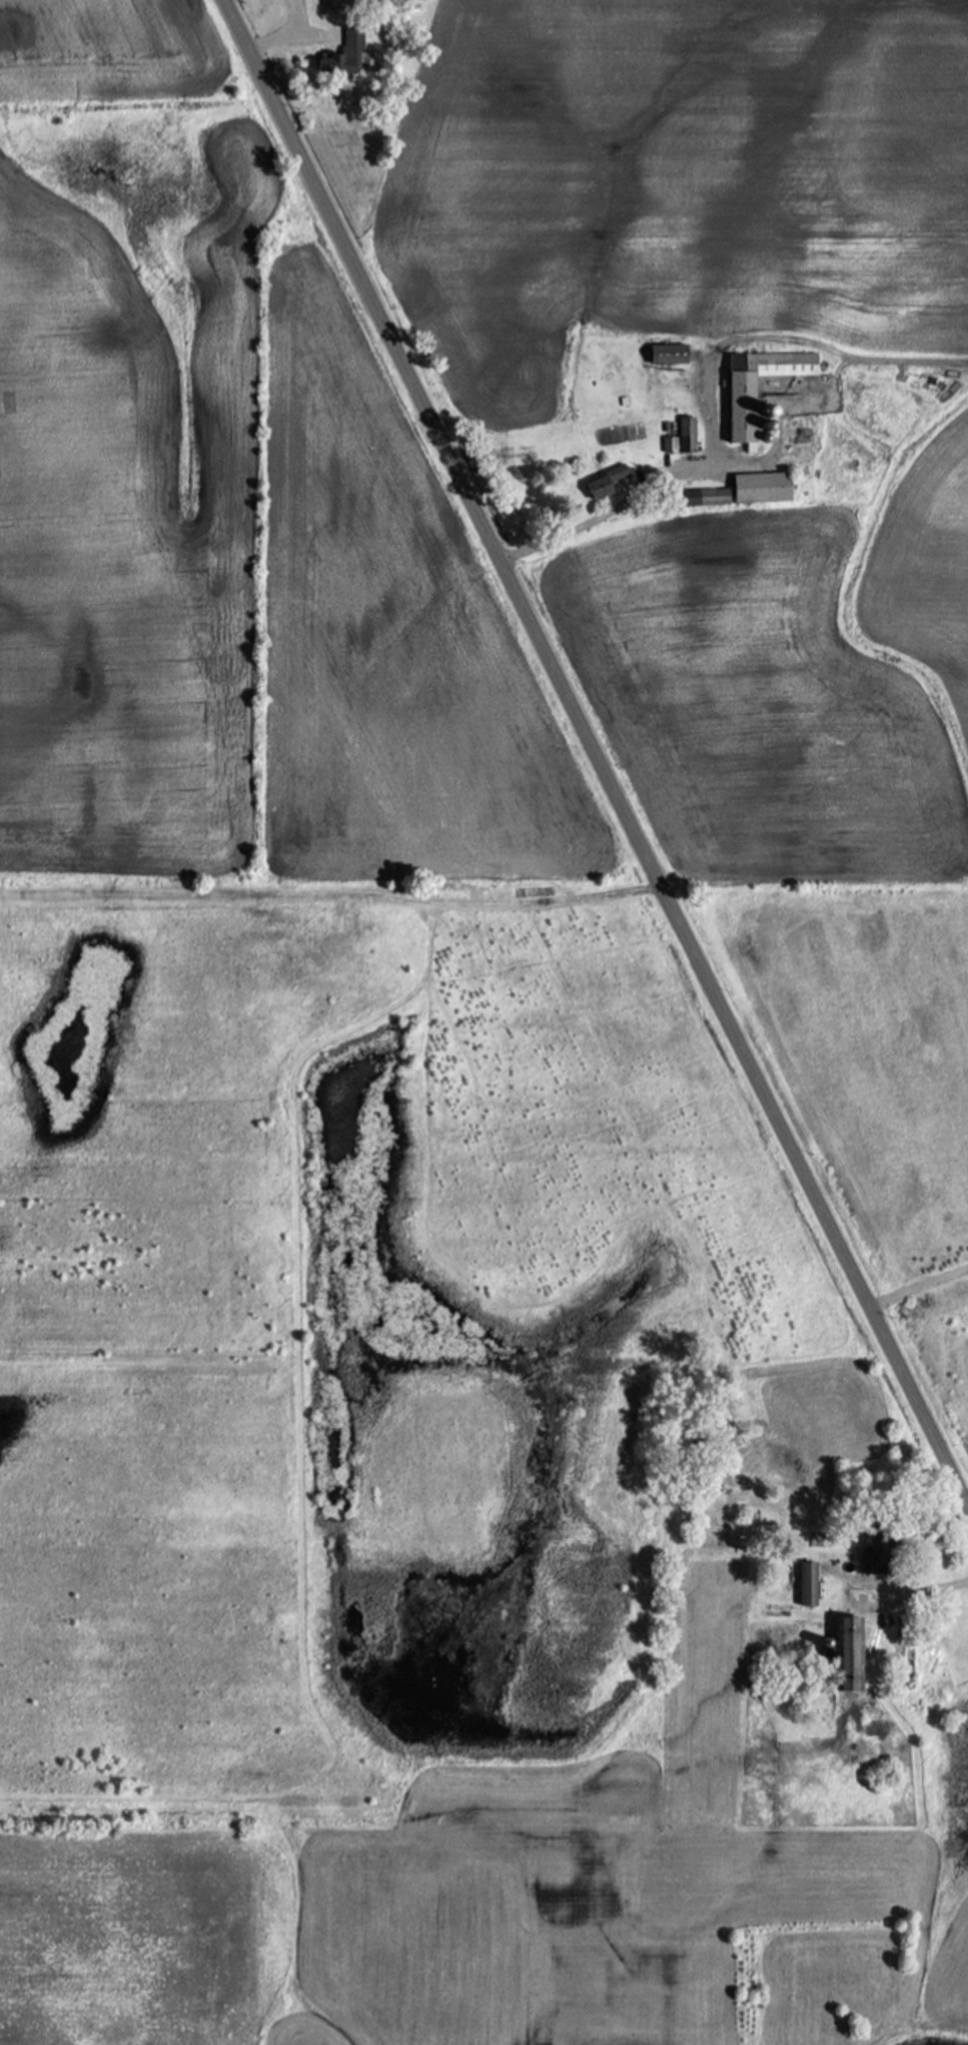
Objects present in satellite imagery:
building: (340, 58)
building: (665, 354)
building: (738, 391)
building: (685, 435)
building: (605, 481)
building: (760, 489)
building: (704, 498)
road: (607, 510)
road: (593, 759)
road: (914, 1282)
road: (929, 1589)
building: (839, 1652)

